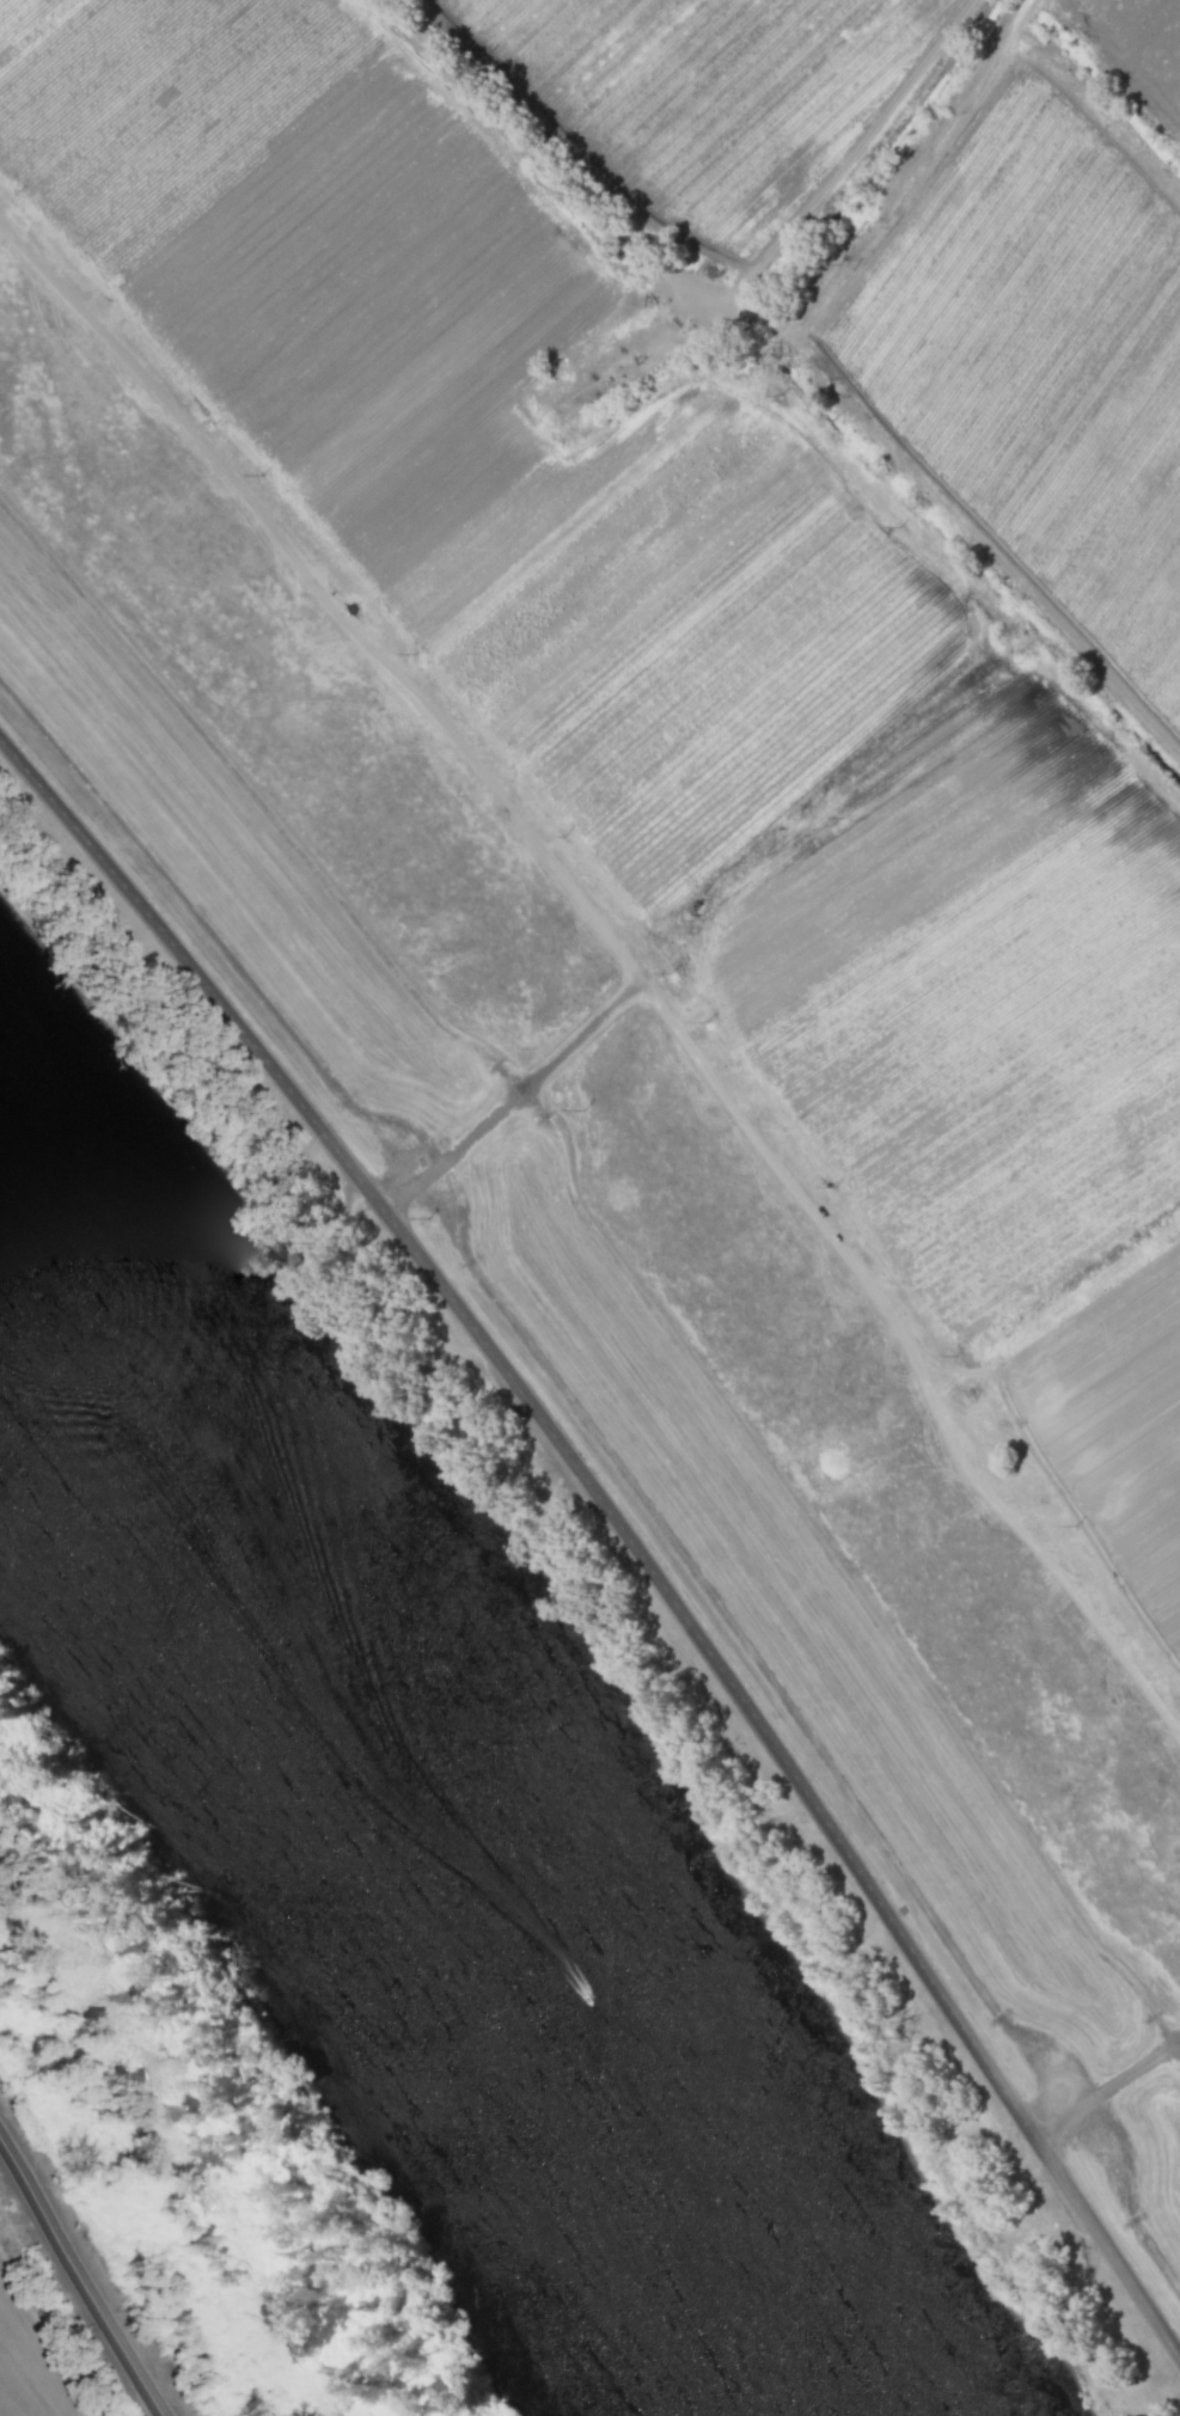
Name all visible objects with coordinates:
crop: (1145, 38)
crop: (708, 99)
road: (619, 1527)
river: (456, 1825)
road: (1107, 2088)
road: (75, 2285)

